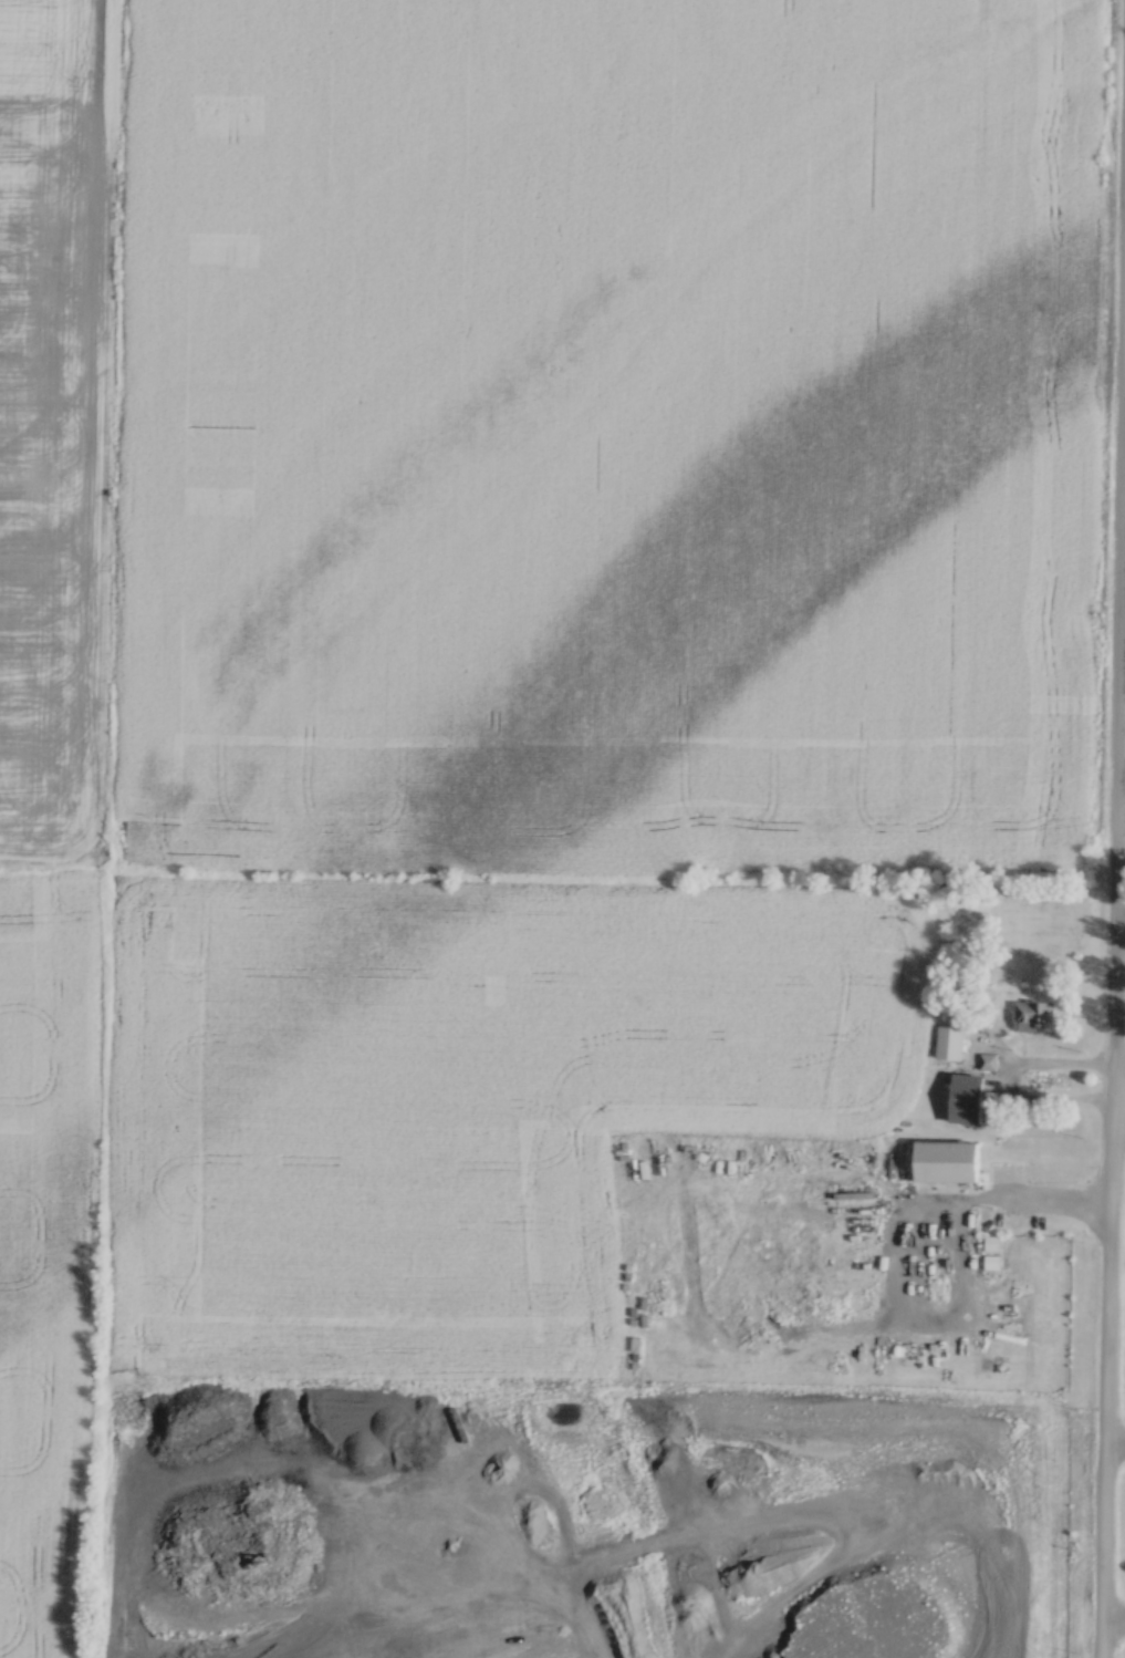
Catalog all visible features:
road: (1113, 960)
building: (1029, 1012)
building: (987, 1059)
road: (1009, 1084)
building: (961, 1097)
building: (940, 1160)
road: (1019, 1199)
road: (1115, 1440)
road: (1114, 1618)

